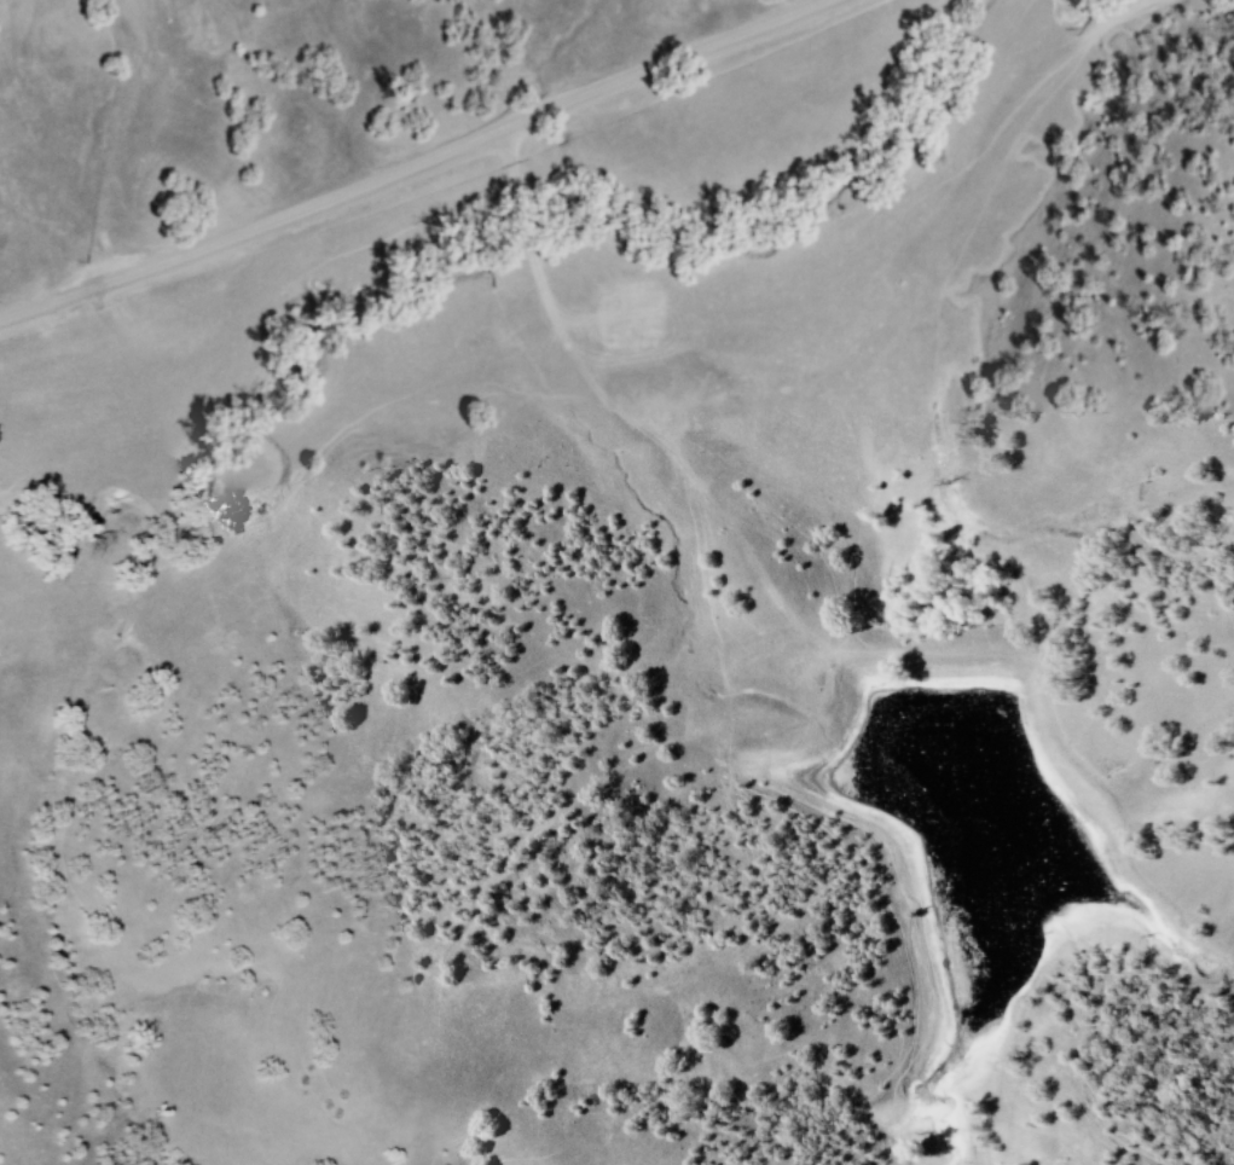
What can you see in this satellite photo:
road: (423, 169)
dam: (933, 659)

